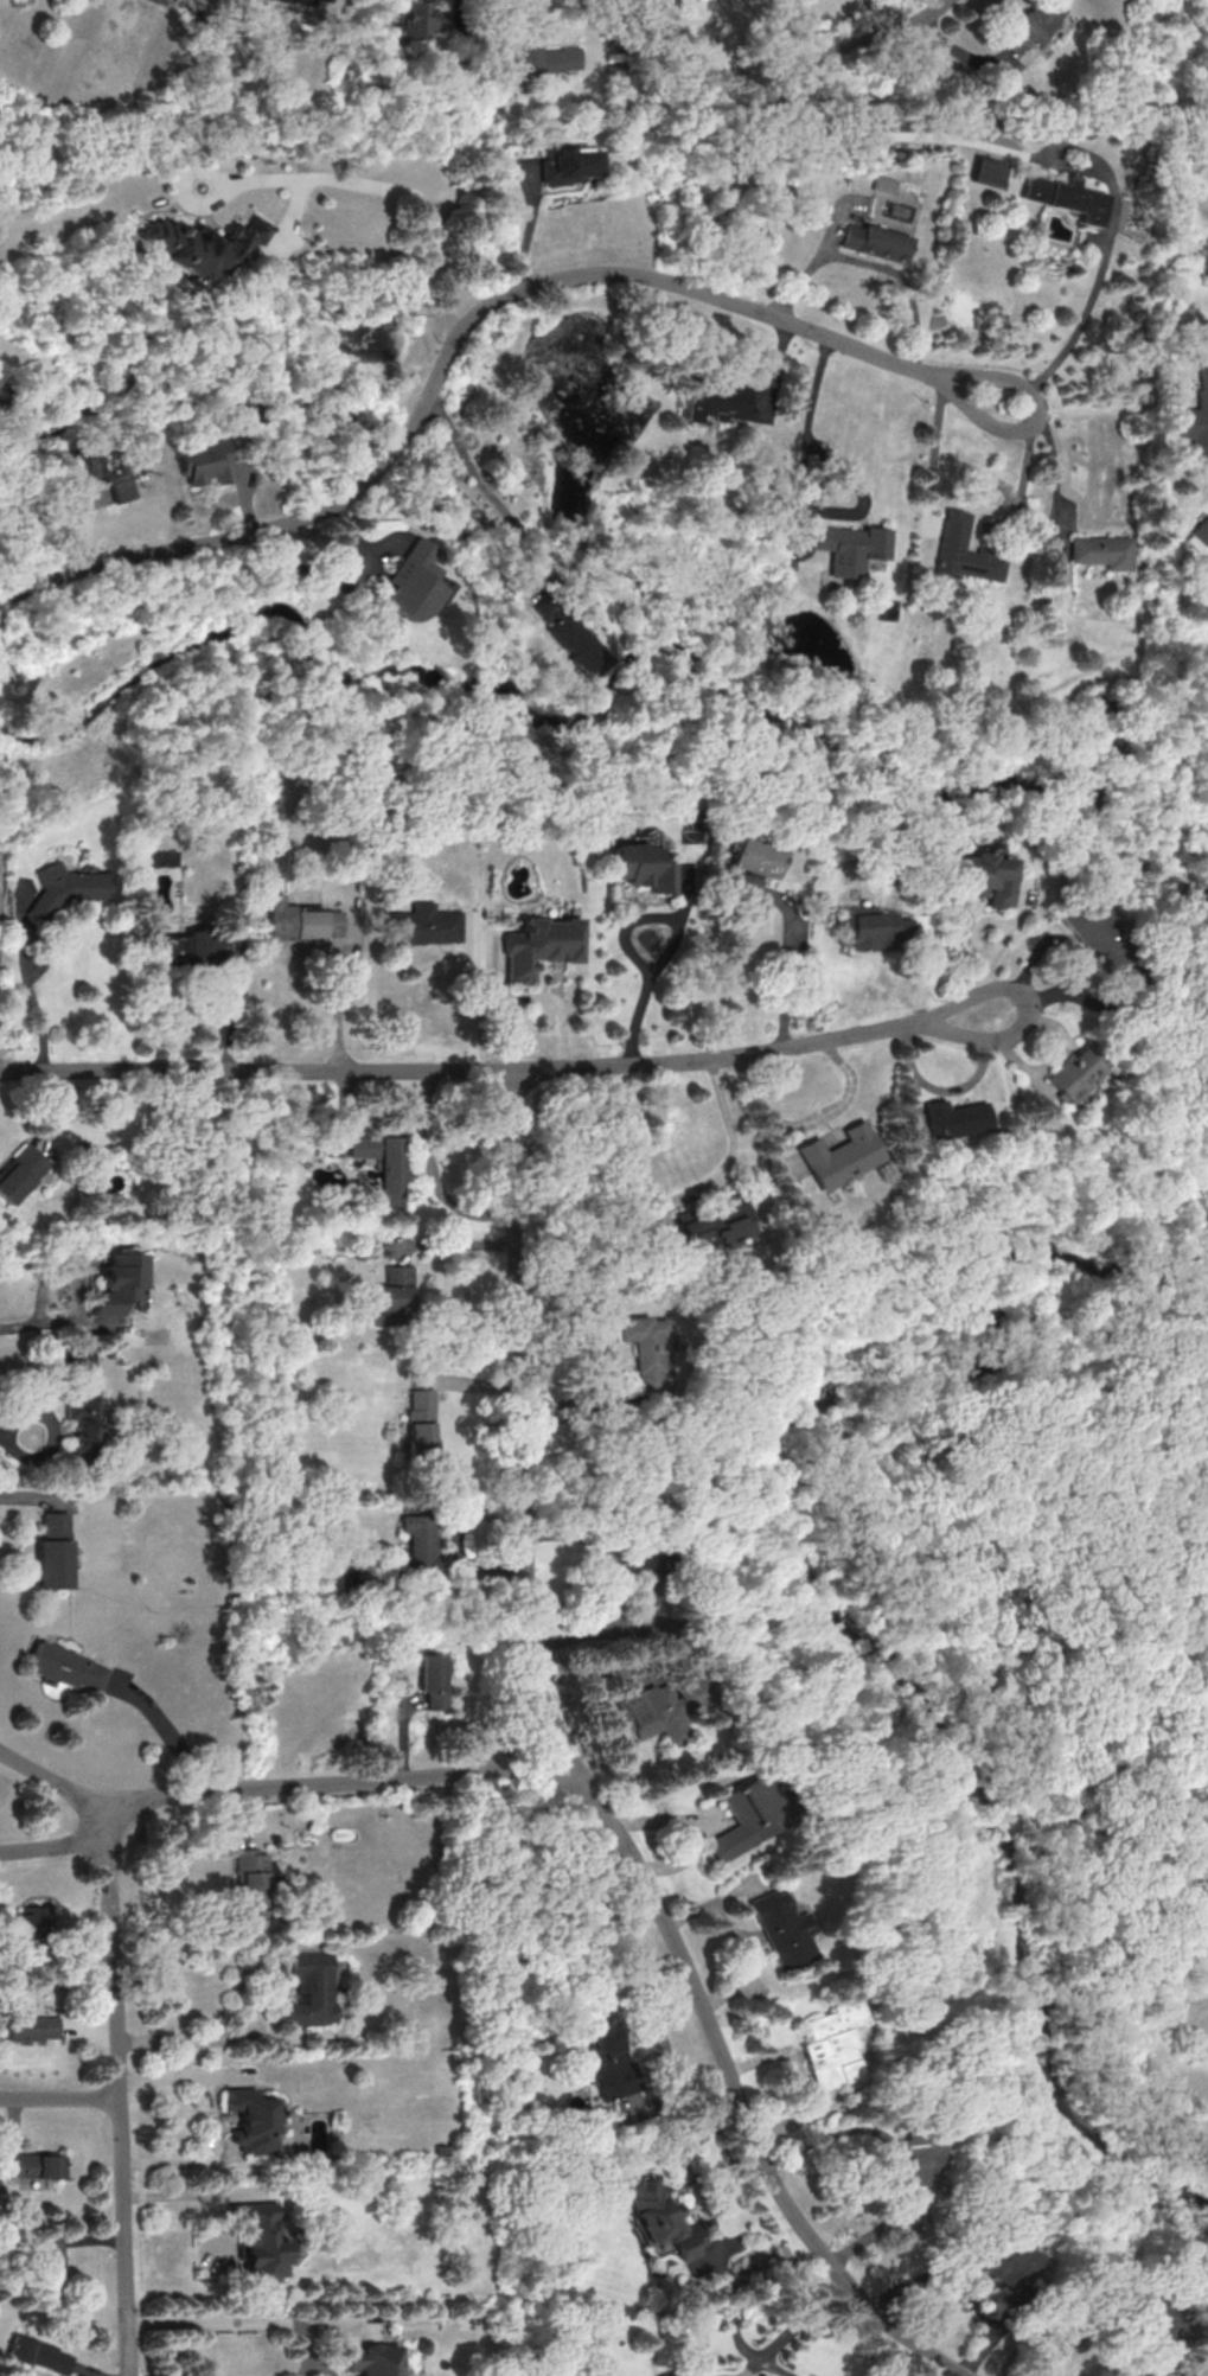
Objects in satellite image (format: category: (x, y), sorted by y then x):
road: (934, 9)
building: (1030, 25)
road: (589, 28)
building: (547, 60)
road: (874, 136)
building: (569, 162)
building: (985, 171)
building: (883, 184)
road: (405, 189)
building: (1063, 197)
road: (531, 225)
building: (876, 242)
building: (200, 244)
road: (1095, 283)
road: (449, 357)
building: (728, 401)
road: (1049, 419)
building: (1196, 421)
building: (203, 461)
building: (98, 470)
road: (1056, 472)
road: (1024, 483)
road: (482, 484)
road: (799, 500)
building: (1200, 530)
building: (850, 547)
building: (964, 551)
building: (1101, 551)
road: (318, 576)
building: (410, 582)
building: (567, 632)
river: (665, 651)
building: (159, 856)
building: (749, 857)
building: (638, 866)
building: (679, 874)
building: (977, 876)
building: (740, 884)
building: (62, 888)
building: (302, 921)
building: (421, 925)
building: (870, 926)
building: (1091, 931)
road: (672, 940)
building: (203, 943)
building: (537, 945)
building: (167, 951)
road: (788, 966)
road: (338, 994)
road: (473, 995)
road: (524, 996)
road: (34, 1001)
road: (1041, 1005)
road: (459, 1069)
road: (908, 1075)
building: (1075, 1075)
building: (955, 1118)
building: (841, 1155)
building: (382, 1164)
building: (20, 1173)
road: (433, 1174)
road: (677, 1201)
road: (952, 1216)
building: (717, 1222)
road: (452, 1245)
building: (116, 1283)
road: (72, 1284)
road: (15, 1322)
building: (644, 1349)
road: (520, 1379)
road: (33, 1404)
road: (586, 1414)
building: (79, 1422)
building: (418, 1422)
road: (26, 1499)
building: (418, 1543)
building: (51, 1551)
river: (816, 1601)
building: (64, 1667)
building: (432, 1679)
building: (657, 1707)
road: (514, 1724)
road: (577, 1765)
road: (443, 1773)
road: (545, 1775)
road: (51, 1778)
road: (314, 1783)
road: (173, 1794)
building: (744, 1818)
road: (52, 1846)
building: (249, 1877)
building: (30, 1921)
building: (782, 1929)
road: (742, 1940)
building: (309, 1987)
building: (30, 2027)
road: (190, 2038)
building: (830, 2044)
building: (608, 2061)
road: (181, 2076)
road: (119, 2088)
road: (59, 2097)
building: (251, 2120)
road: (752, 2137)
road: (891, 2150)
road: (199, 2154)
building: (915, 2157)
building: (32, 2165)
road: (187, 2190)
building: (660, 2217)
road: (709, 2223)
building: (261, 2240)
building: (50, 2249)
building: (1003, 2261)
road: (831, 2300)
road: (243, 2324)
road: (780, 2345)
building: (38, 2355)
building: (372, 2359)

